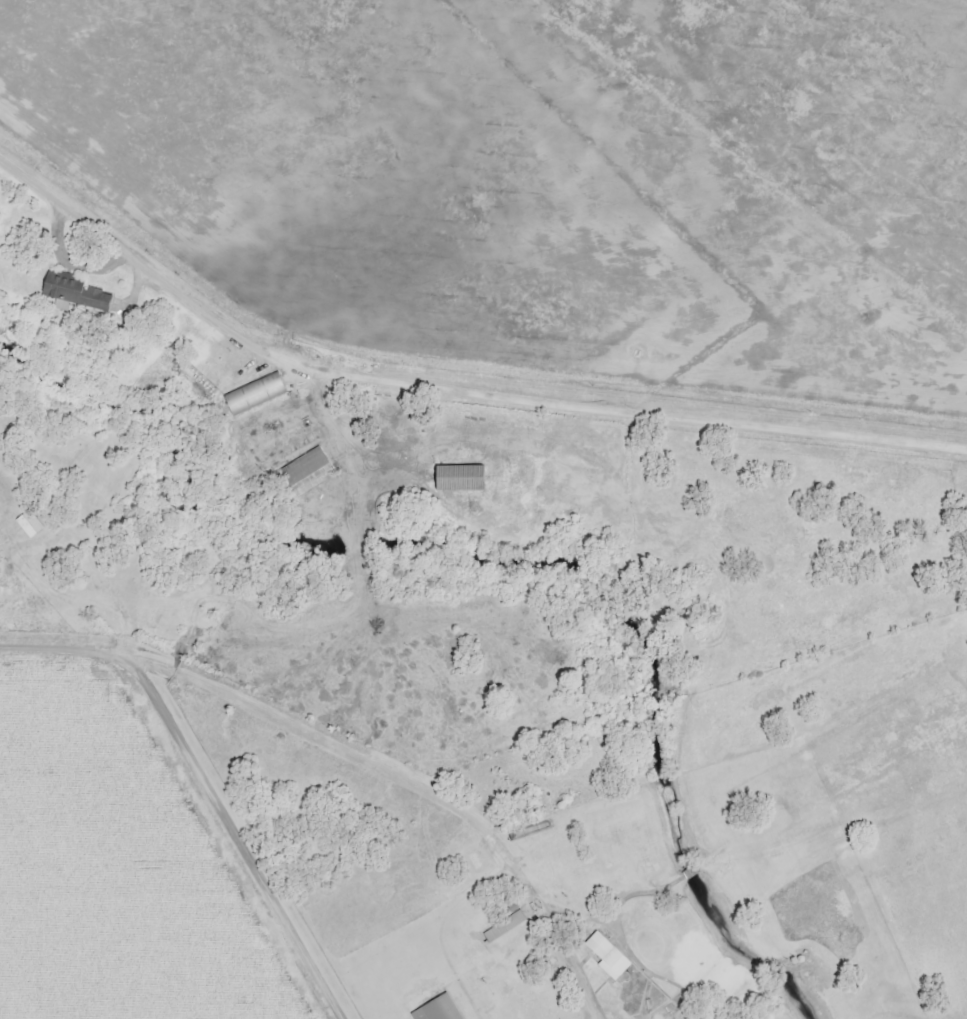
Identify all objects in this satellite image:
building: (72, 290)
road: (452, 385)
building: (252, 392)
building: (305, 471)
building: (456, 477)
building: (23, 525)
road: (407, 776)
road: (209, 779)
building: (501, 926)
building: (603, 955)
building: (435, 1009)

